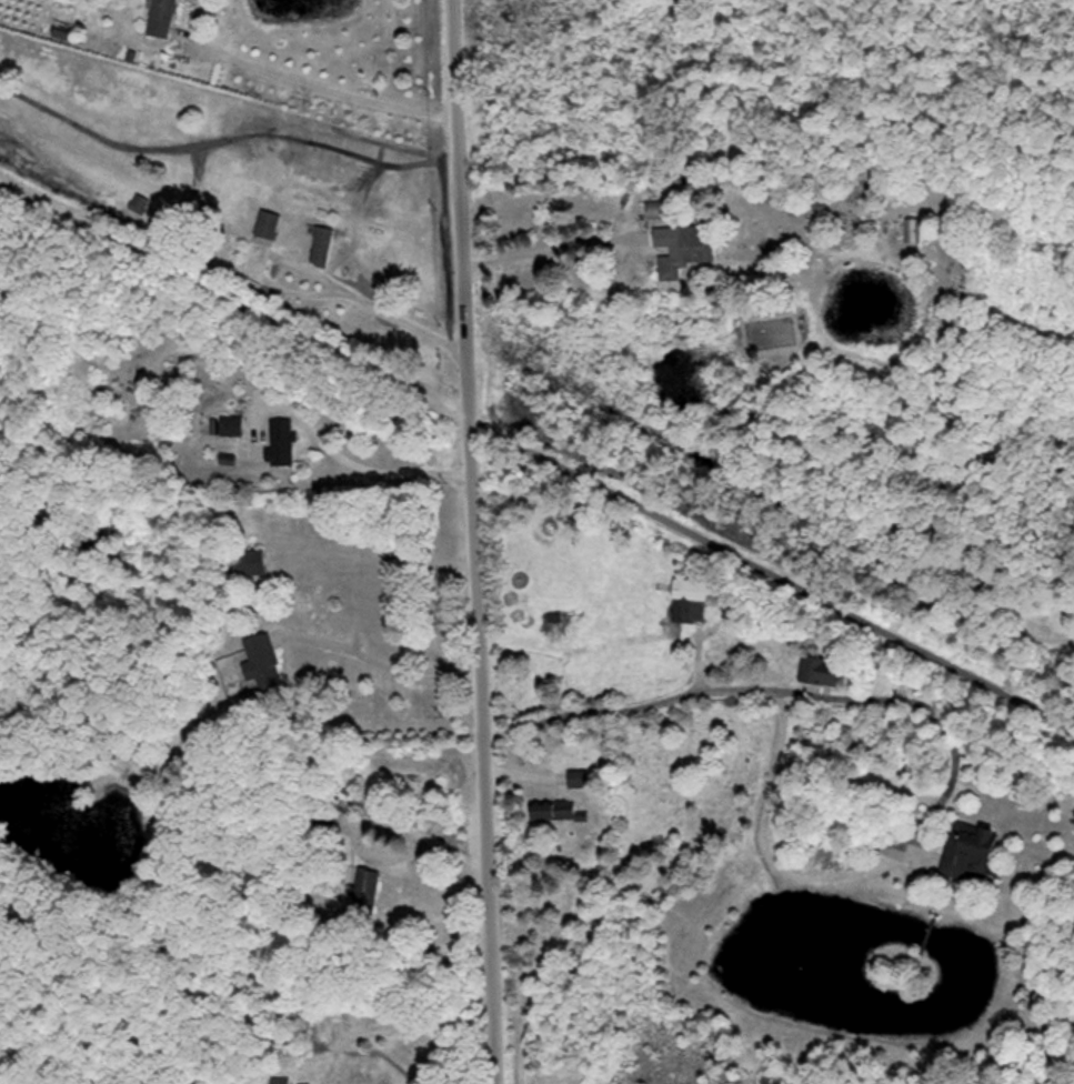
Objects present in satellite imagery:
building: (161, 18)
road: (325, 90)
building: (656, 209)
building: (816, 211)
building: (912, 229)
building: (265, 230)
building: (320, 244)
road: (553, 248)
building: (686, 250)
road: (234, 299)
road: (380, 307)
building: (231, 425)
building: (282, 452)
road: (362, 466)
road: (473, 541)
road: (377, 558)
building: (250, 562)
road: (771, 573)
building: (691, 599)
building: (563, 629)
building: (261, 662)
road: (378, 662)
building: (821, 671)
road: (940, 719)
building: (362, 803)
building: (550, 810)
building: (971, 850)
building: (363, 890)
building: (279, 1080)

